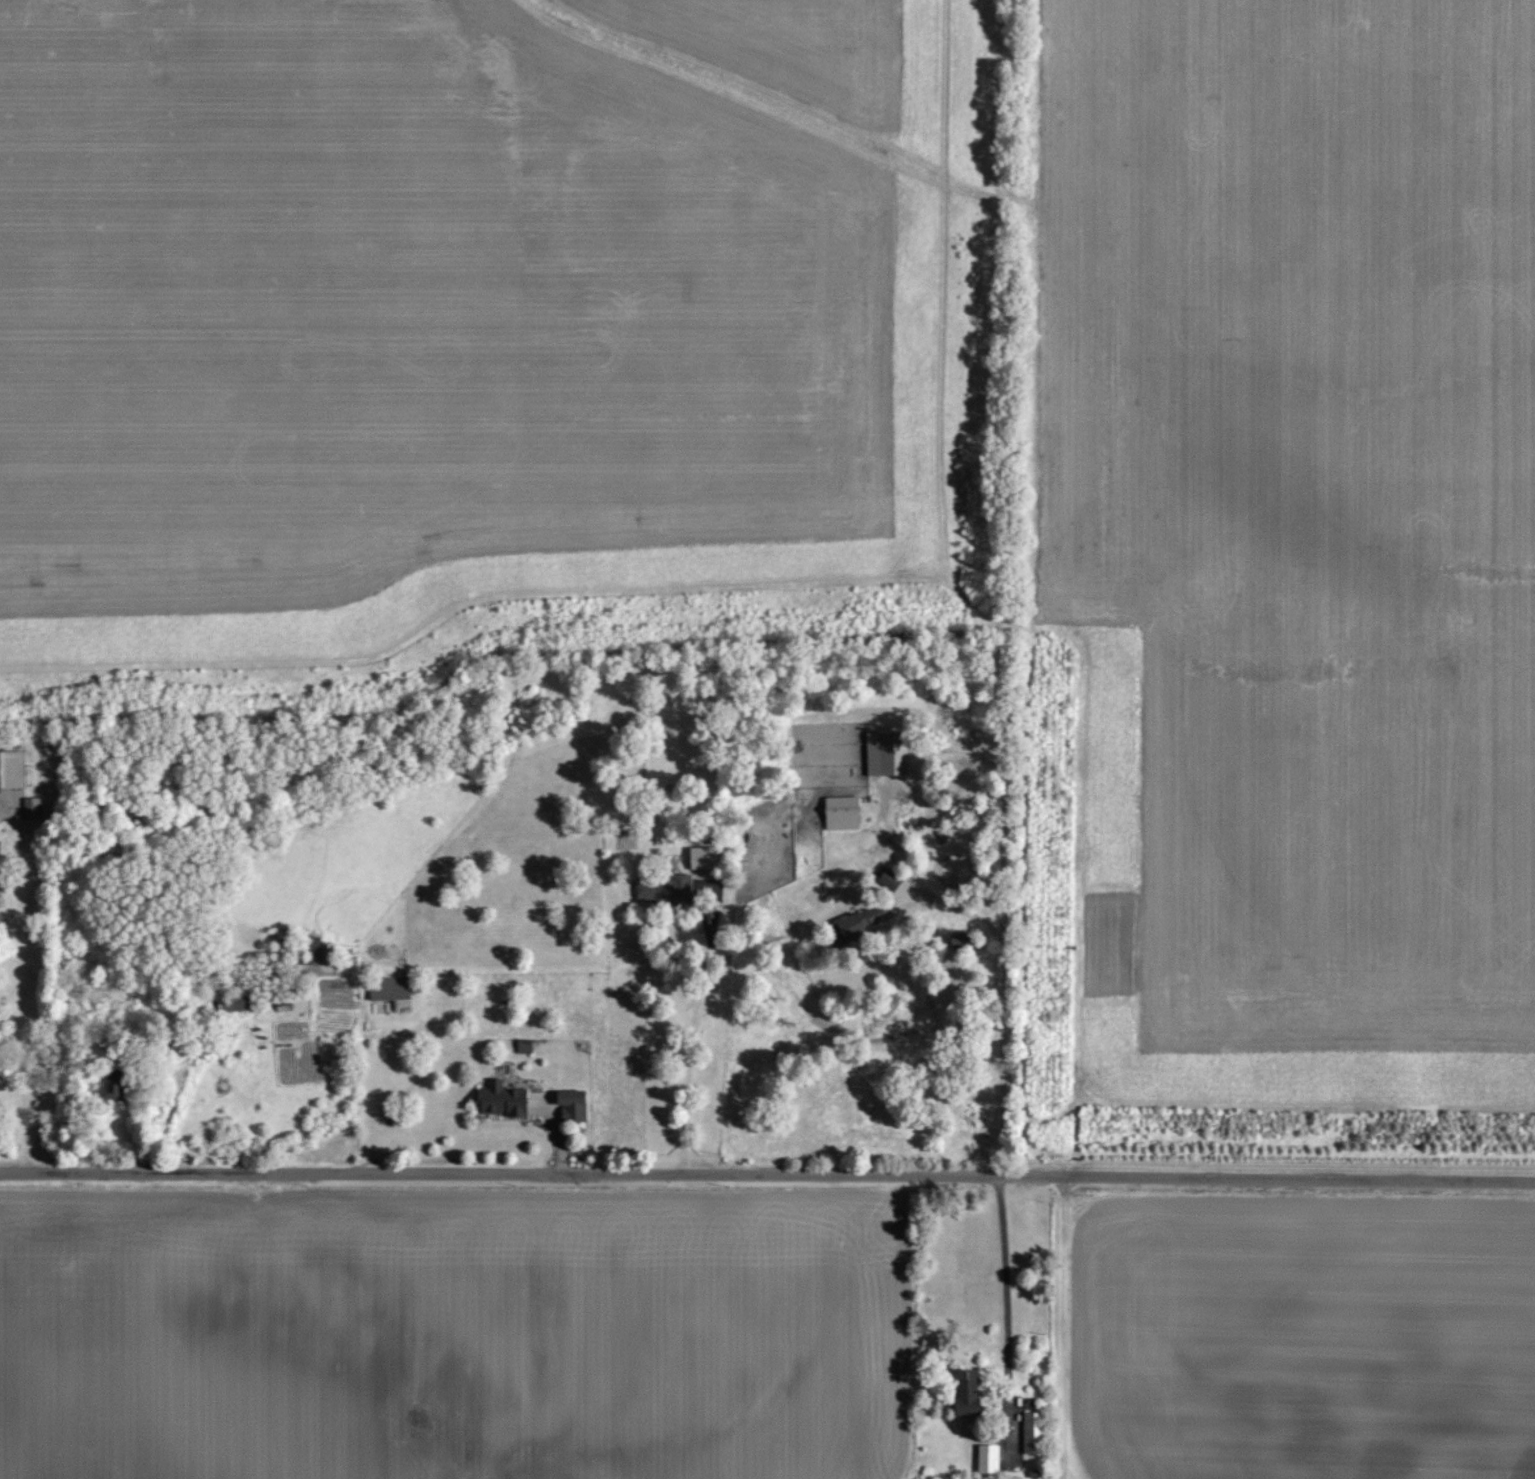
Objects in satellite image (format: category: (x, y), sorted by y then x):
building: (881, 755)
building: (13, 769)
building: (34, 808)
building: (838, 813)
building: (695, 858)
building: (885, 879)
building: (661, 887)
building: (858, 921)
building: (329, 954)
building: (386, 989)
building: (239, 1004)
road: (1001, 1015)
road: (692, 1028)
building: (522, 1046)
building: (121, 1088)
building: (498, 1100)
building: (569, 1105)
road: (767, 1175)
road: (1006, 1317)
building: (957, 1395)
building: (1031, 1426)
building: (984, 1460)

